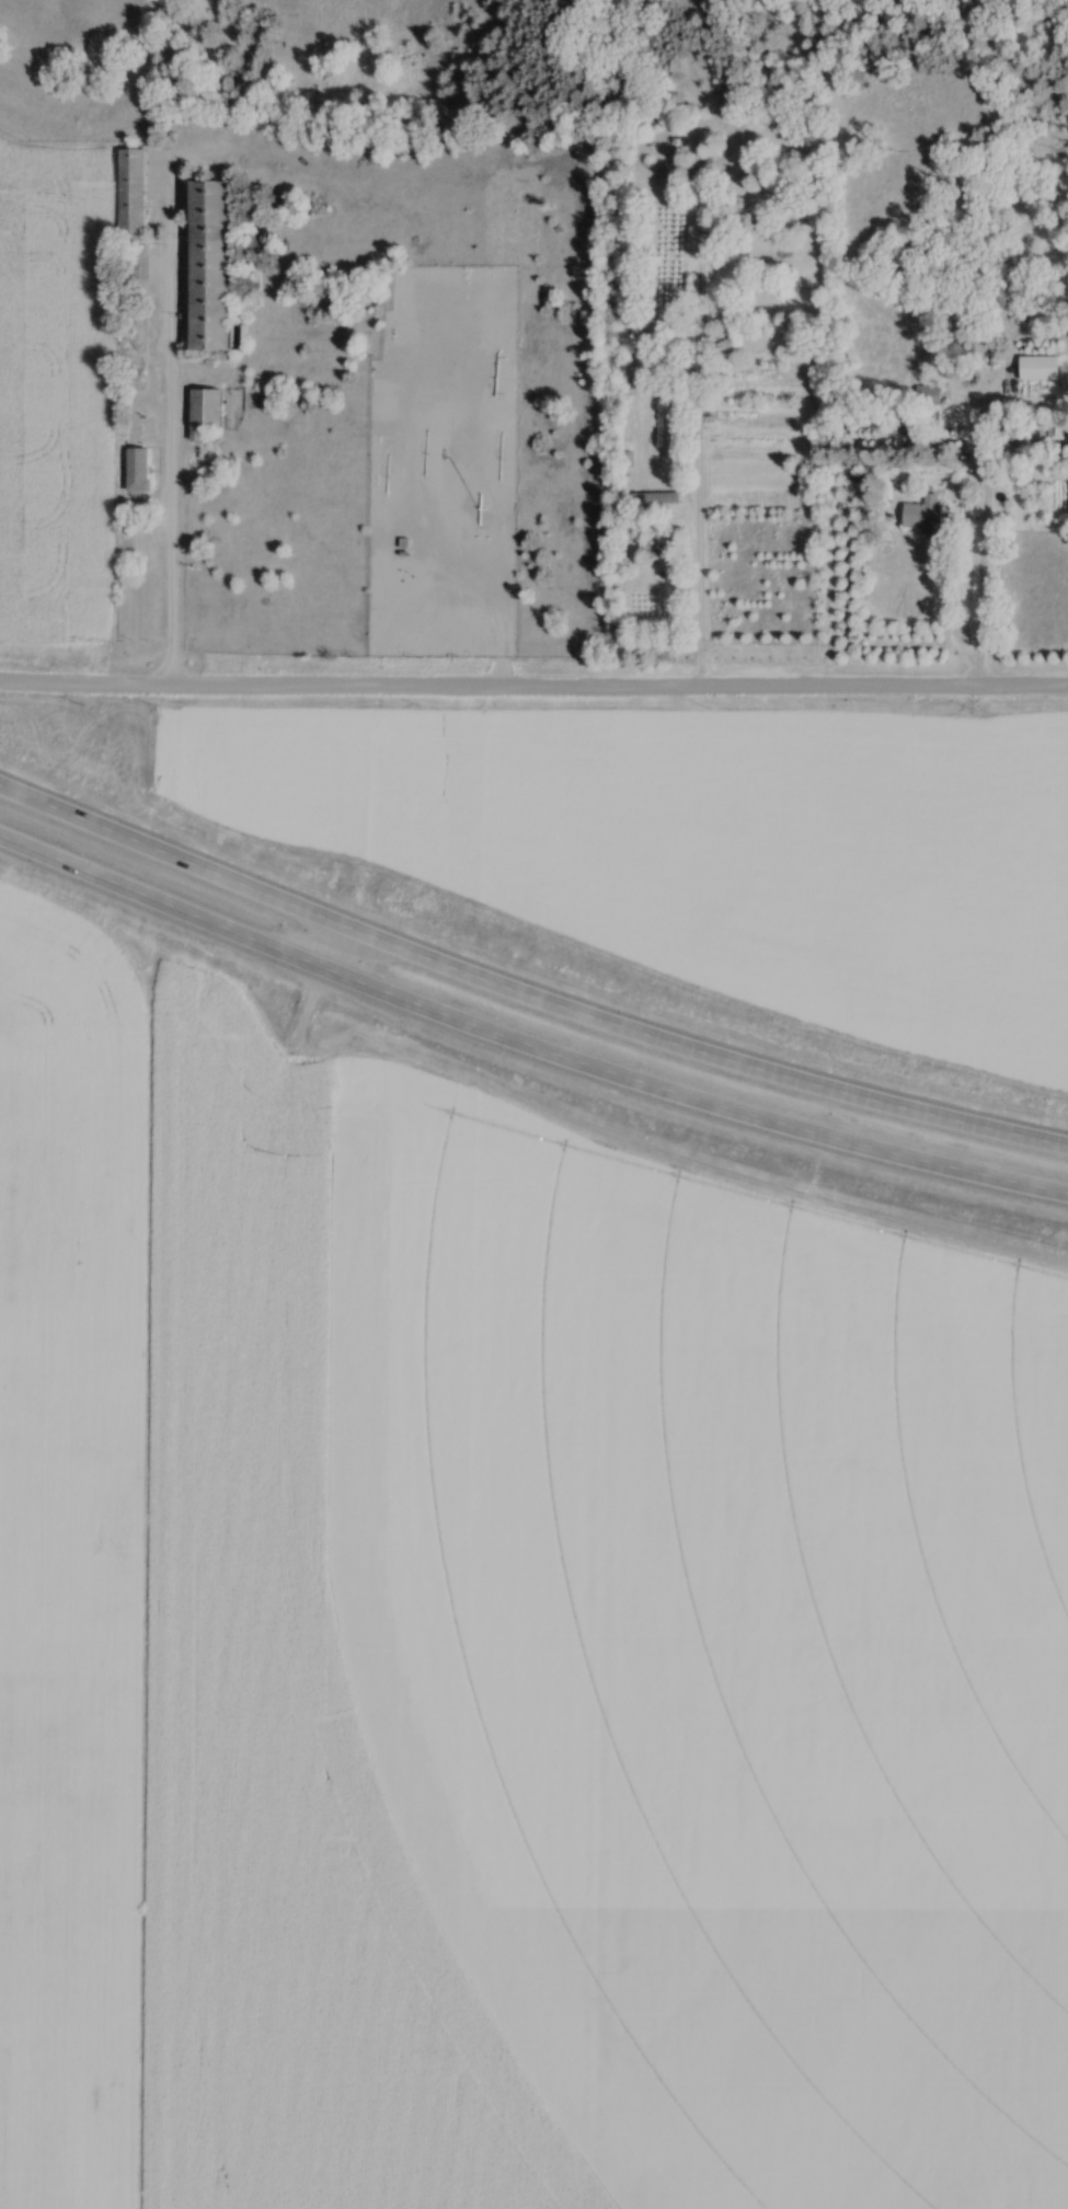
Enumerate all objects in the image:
building: (135, 194)
building: (214, 262)
building: (1042, 369)
building: (209, 410)
road: (698, 412)
road: (172, 424)
building: (141, 470)
building: (657, 498)
building: (928, 516)
road: (980, 538)
road: (944, 622)
road: (533, 684)
road: (329, 943)
road: (525, 992)
road: (524, 1042)

